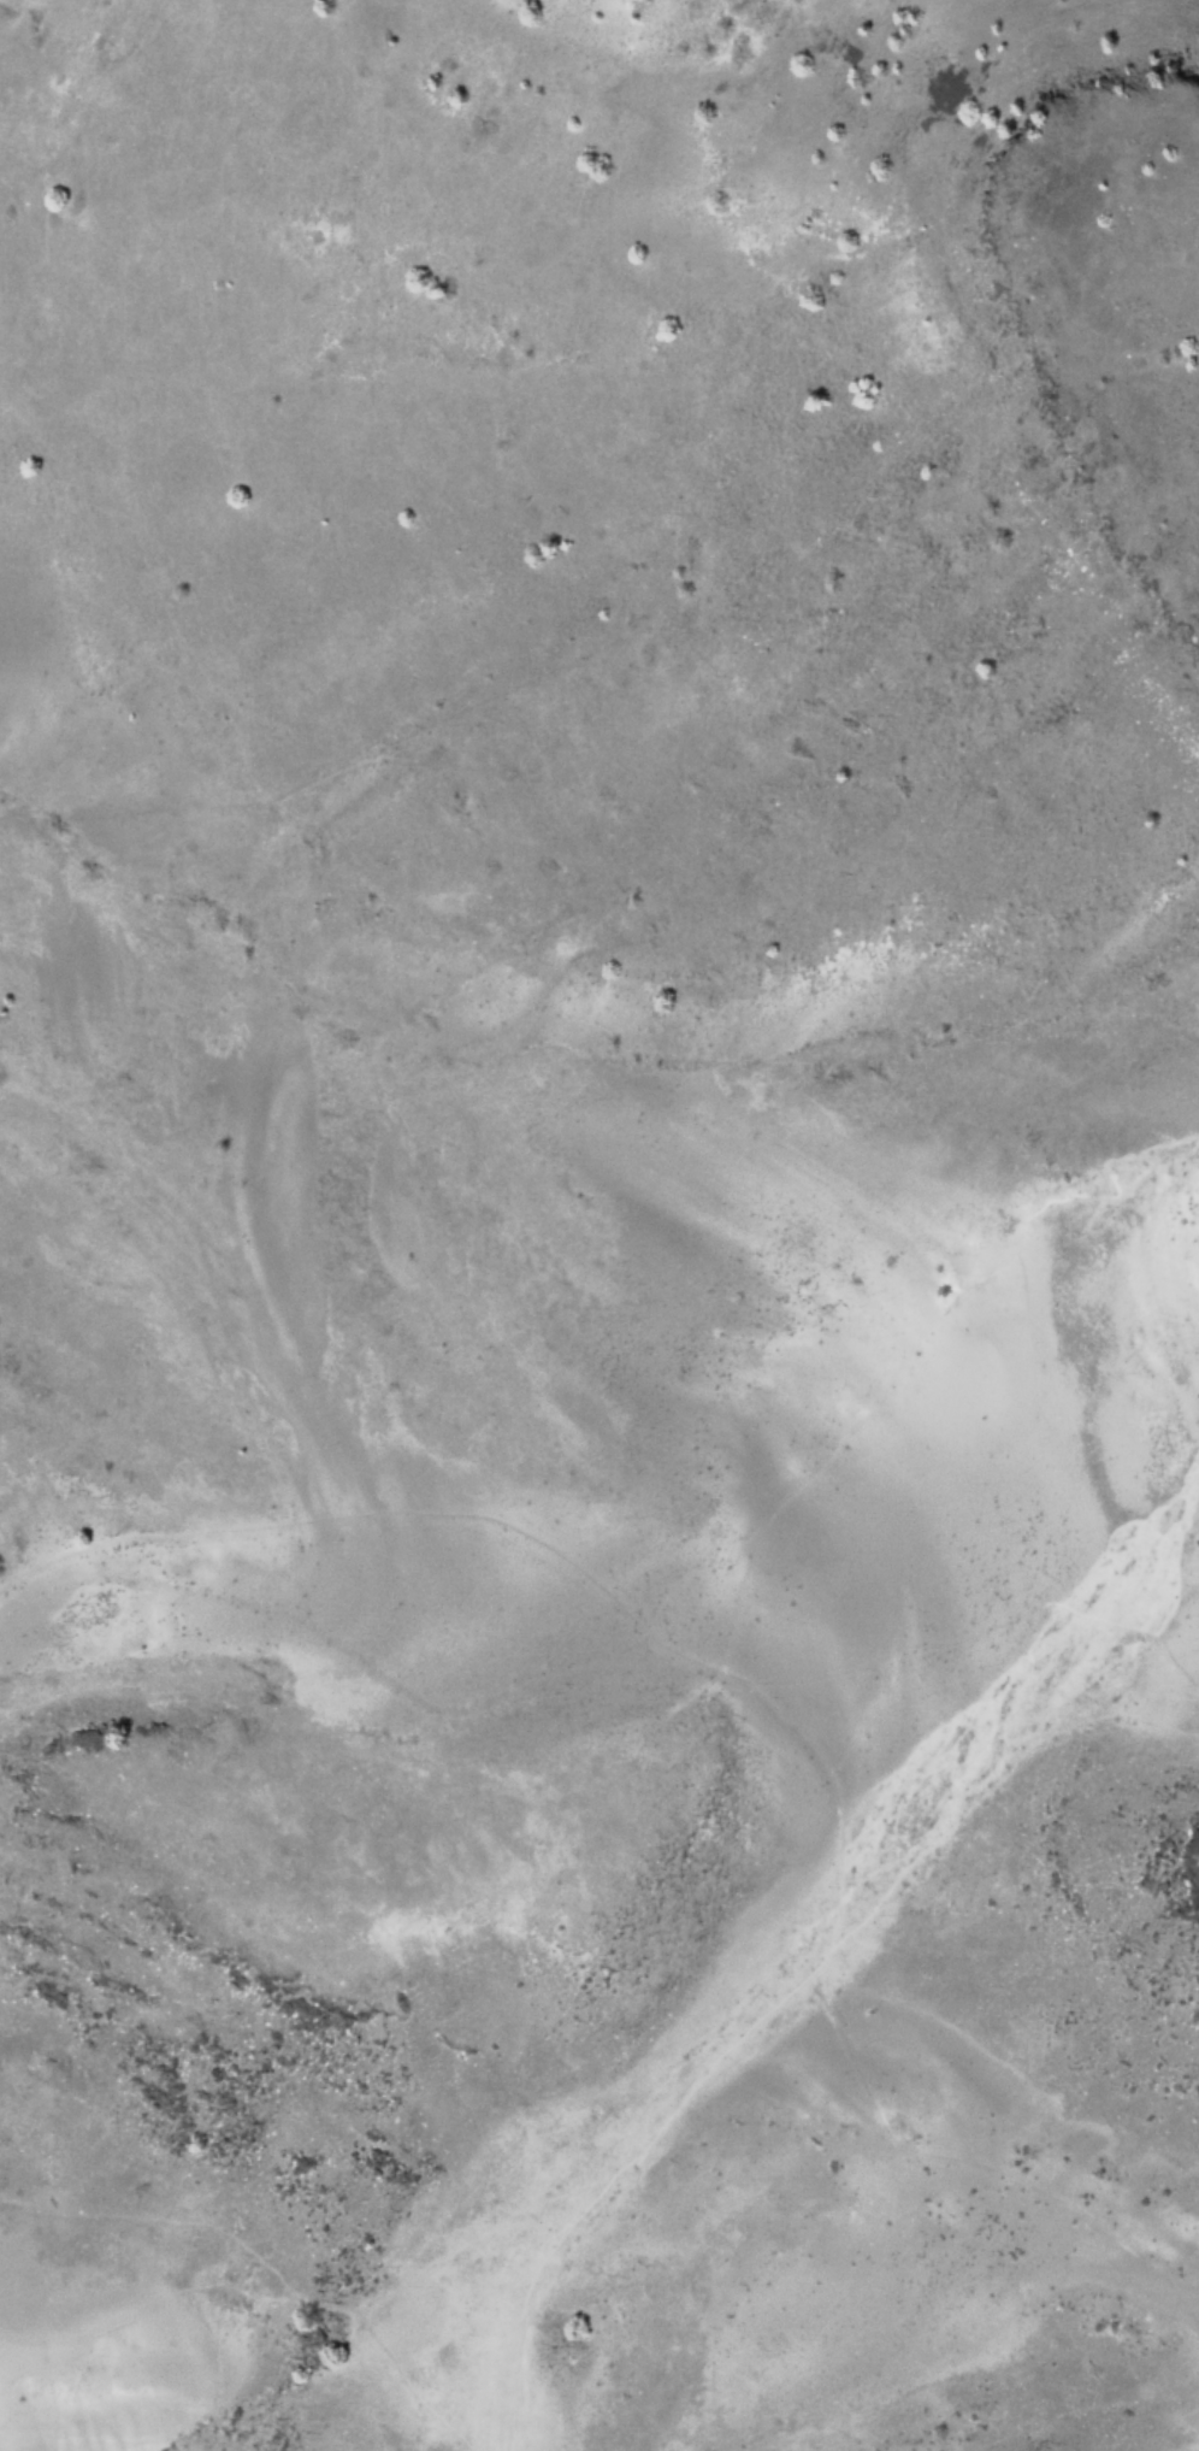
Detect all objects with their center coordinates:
road: (758, 1543)
road: (780, 1722)
road: (256, 2302)

